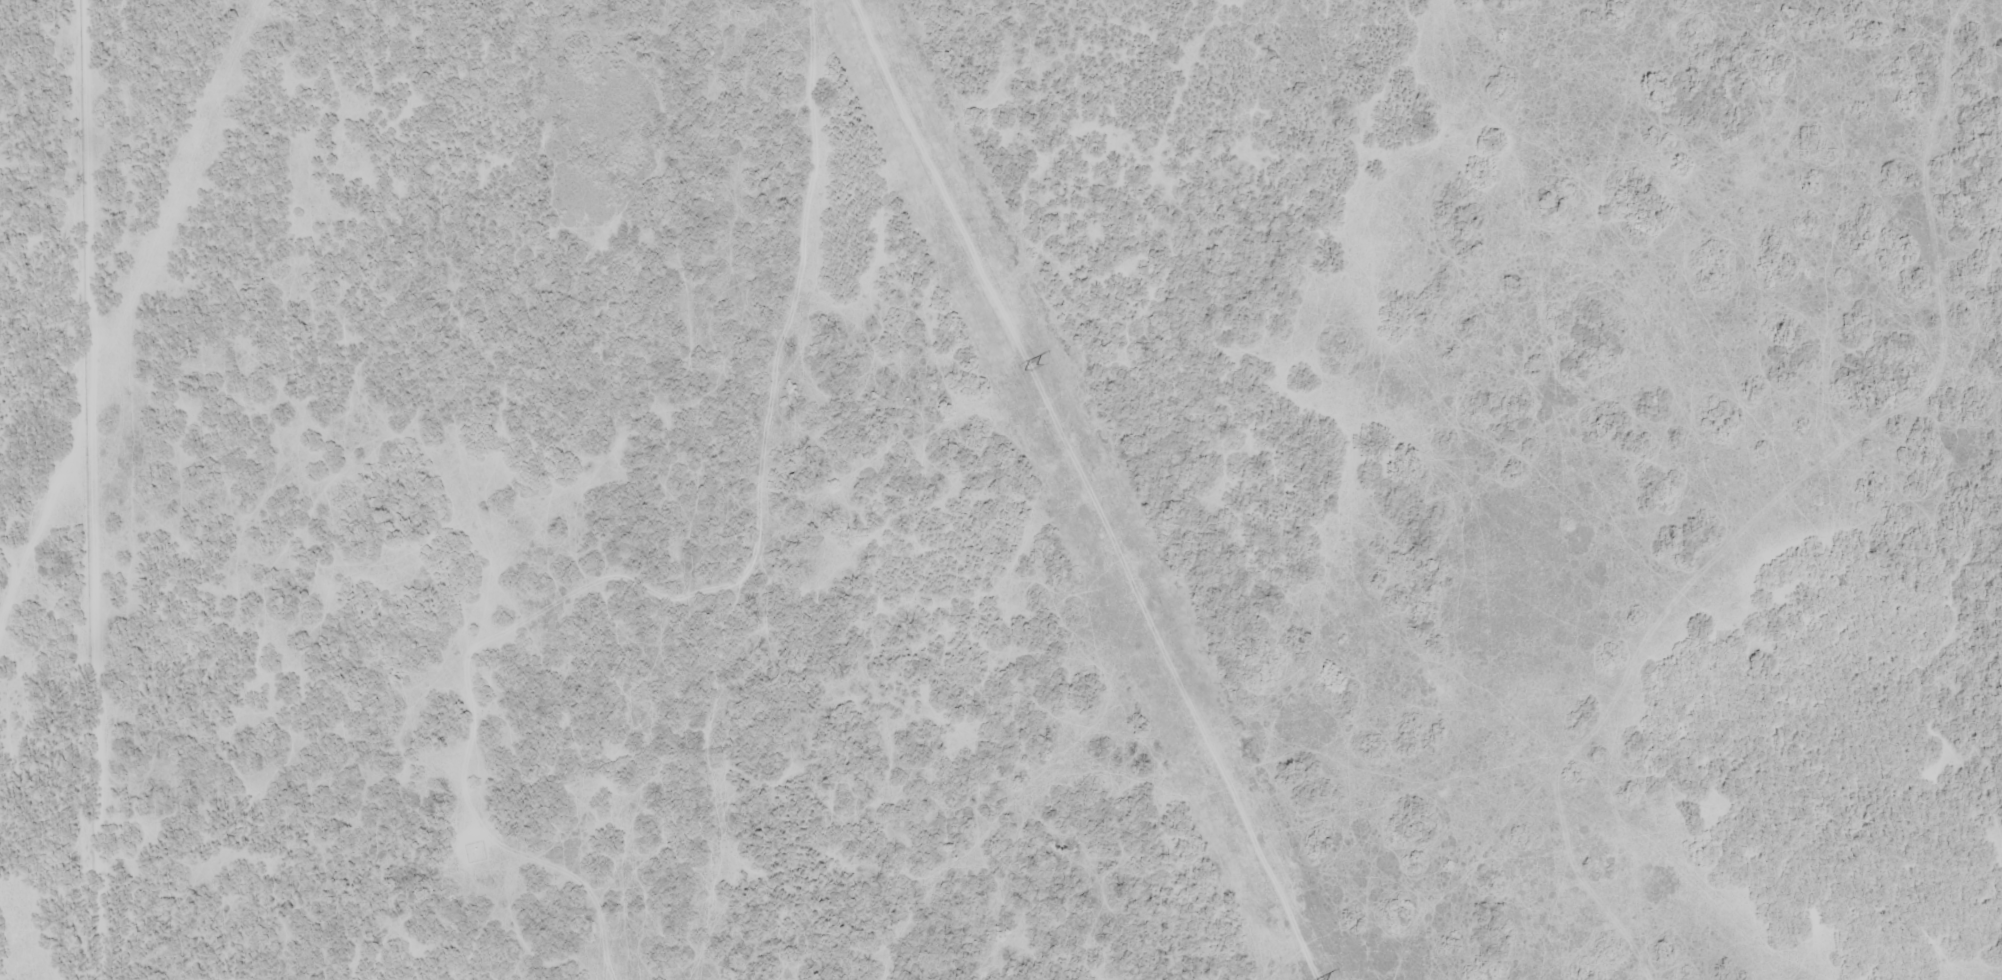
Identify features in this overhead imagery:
power tower: (1029, 369)
road: (1018, 477)
road: (1328, 488)
road: (749, 491)

